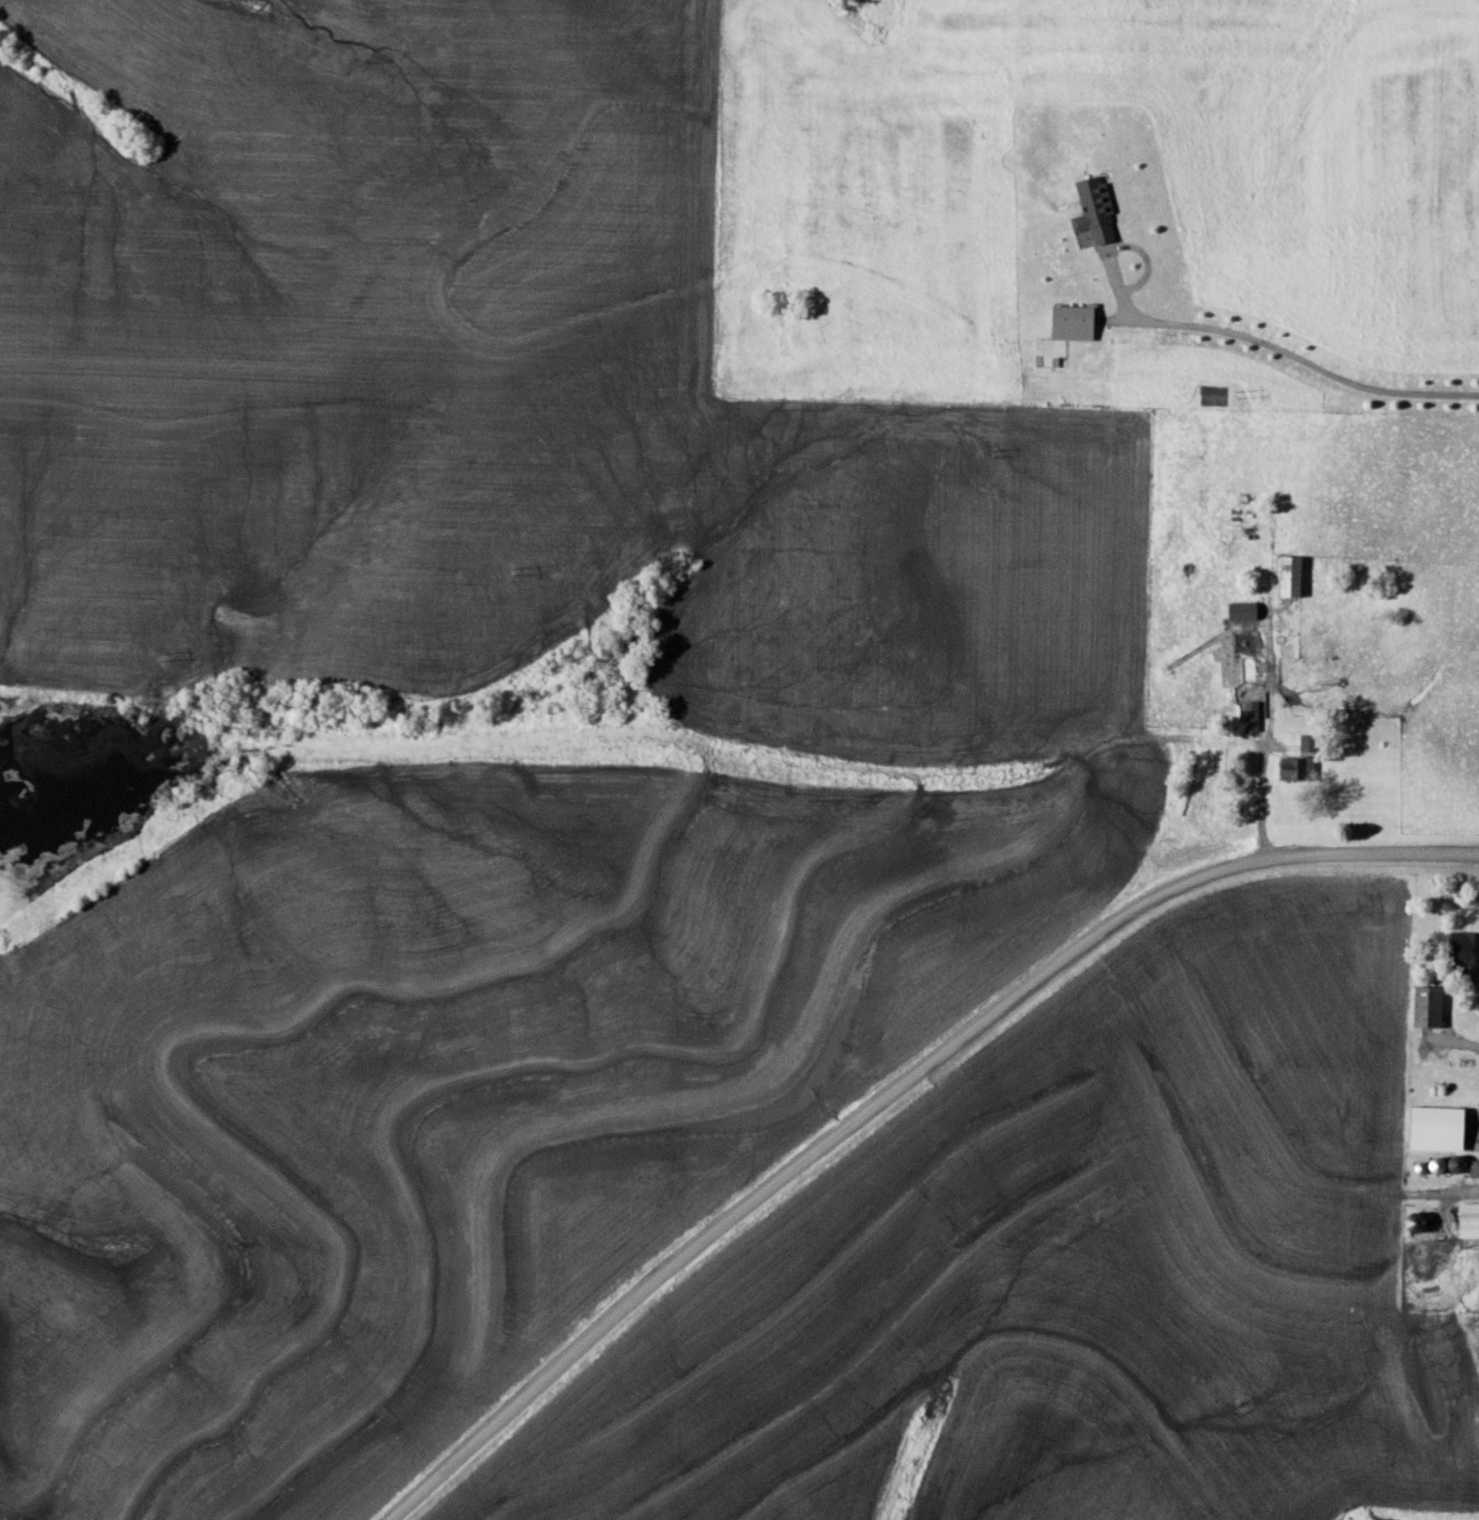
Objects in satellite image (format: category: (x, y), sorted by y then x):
building: (1091, 212)
building: (1075, 322)
road: (1276, 344)
power tower: (1236, 394)
power tower: (995, 455)
power tower: (520, 571)
building: (1293, 576)
building: (1245, 611)
building: (1330, 631)
building: (1196, 651)
power tower: (158, 657)
building: (1252, 716)
building: (1298, 769)
road: (1257, 798)
building: (1430, 1007)
road: (882, 1076)
building: (1440, 1129)
building: (1469, 1221)

